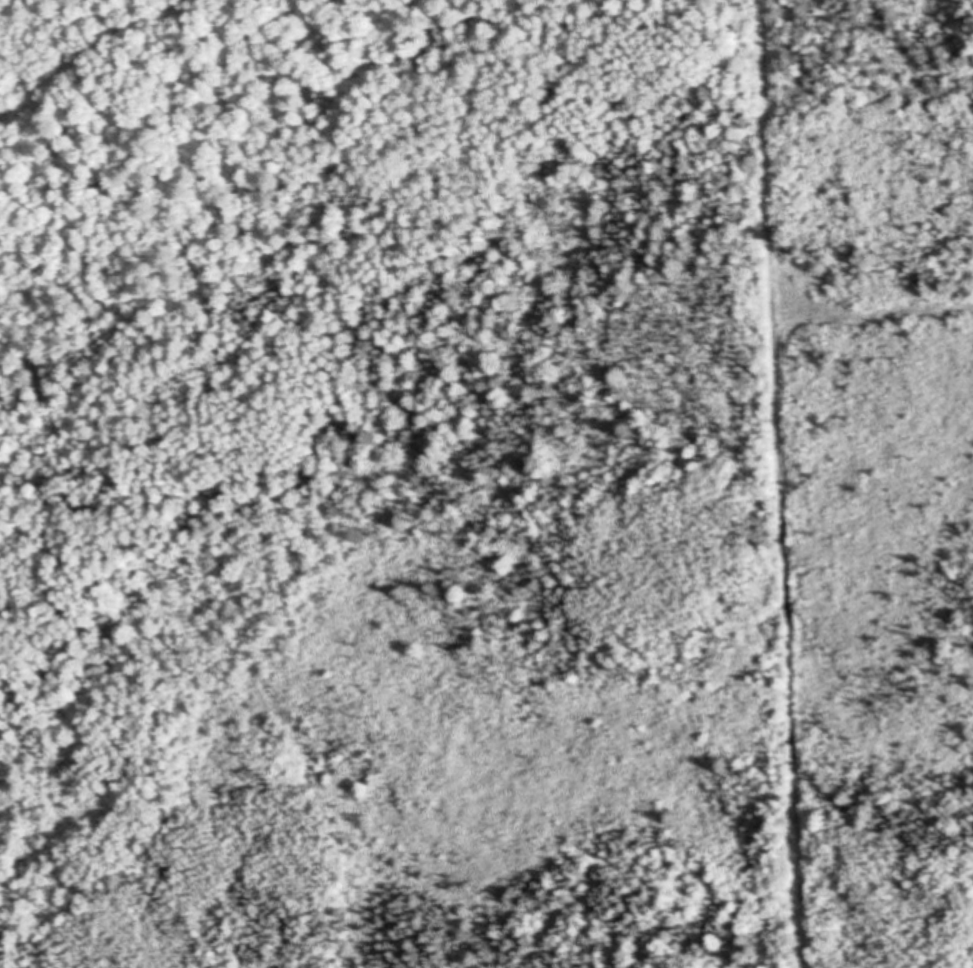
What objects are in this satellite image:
road: (781, 484)

